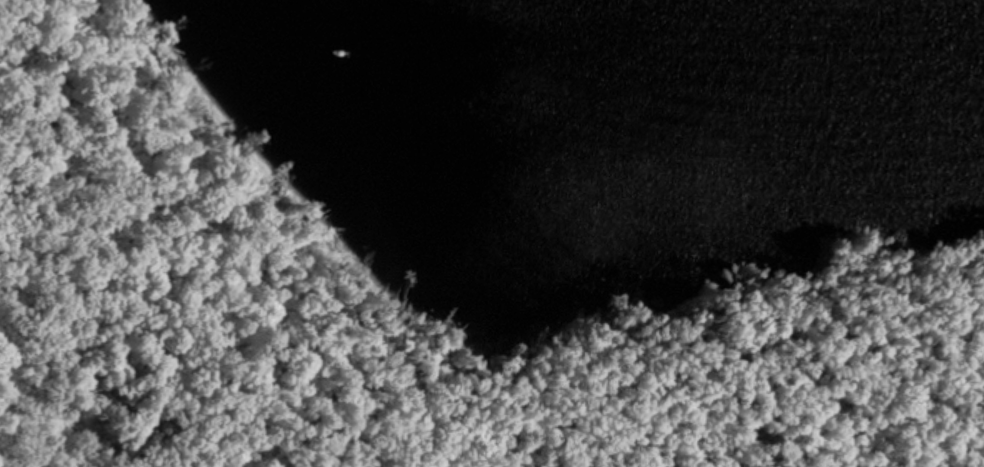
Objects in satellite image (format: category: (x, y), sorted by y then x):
road: (136, 230)

